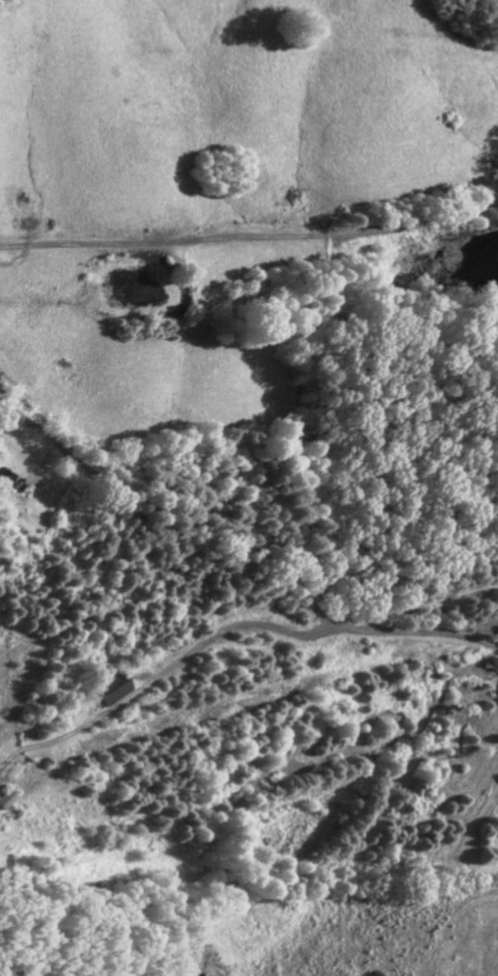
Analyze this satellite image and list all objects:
road: (250, 238)
building: (7, 482)
road: (243, 549)
road: (162, 677)
building: (113, 691)

